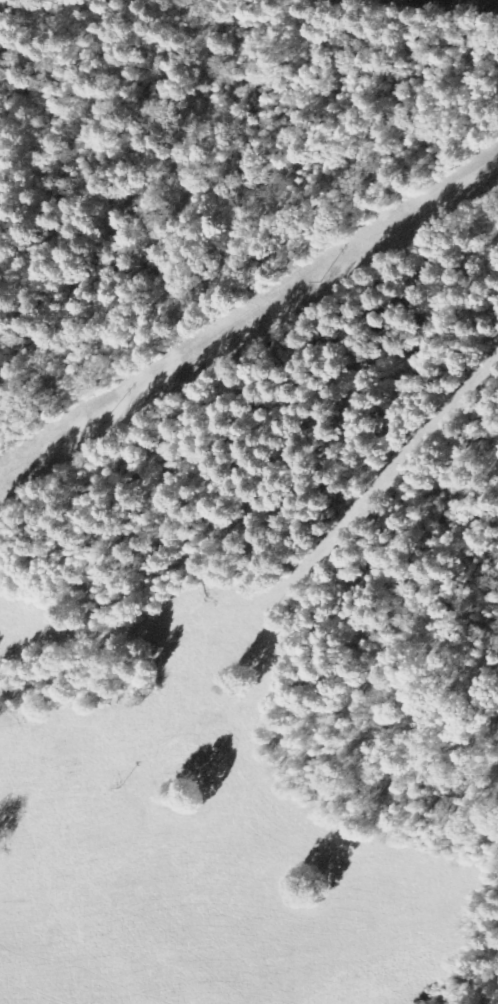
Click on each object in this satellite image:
railway: (475, 2)

